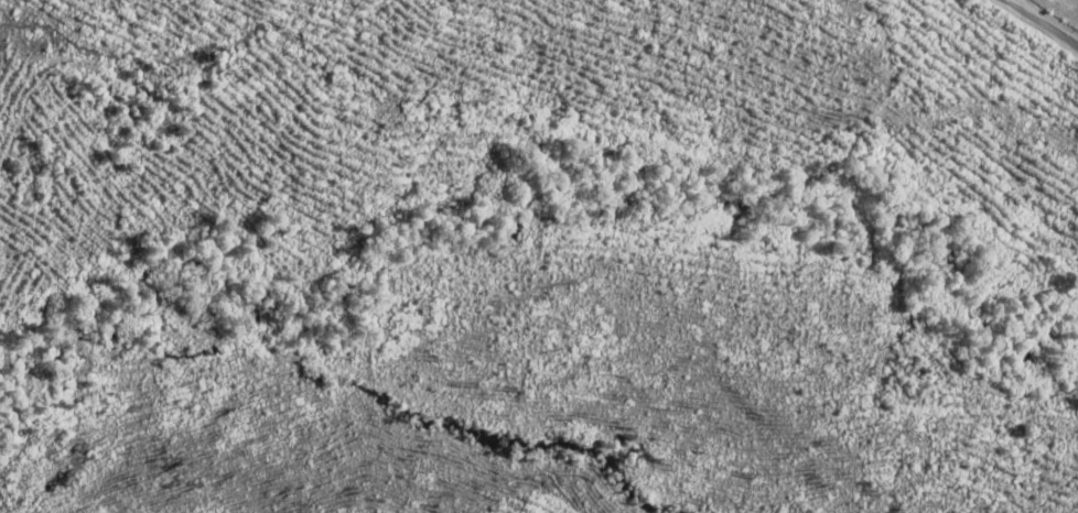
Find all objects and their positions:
road: (1045, 21)

